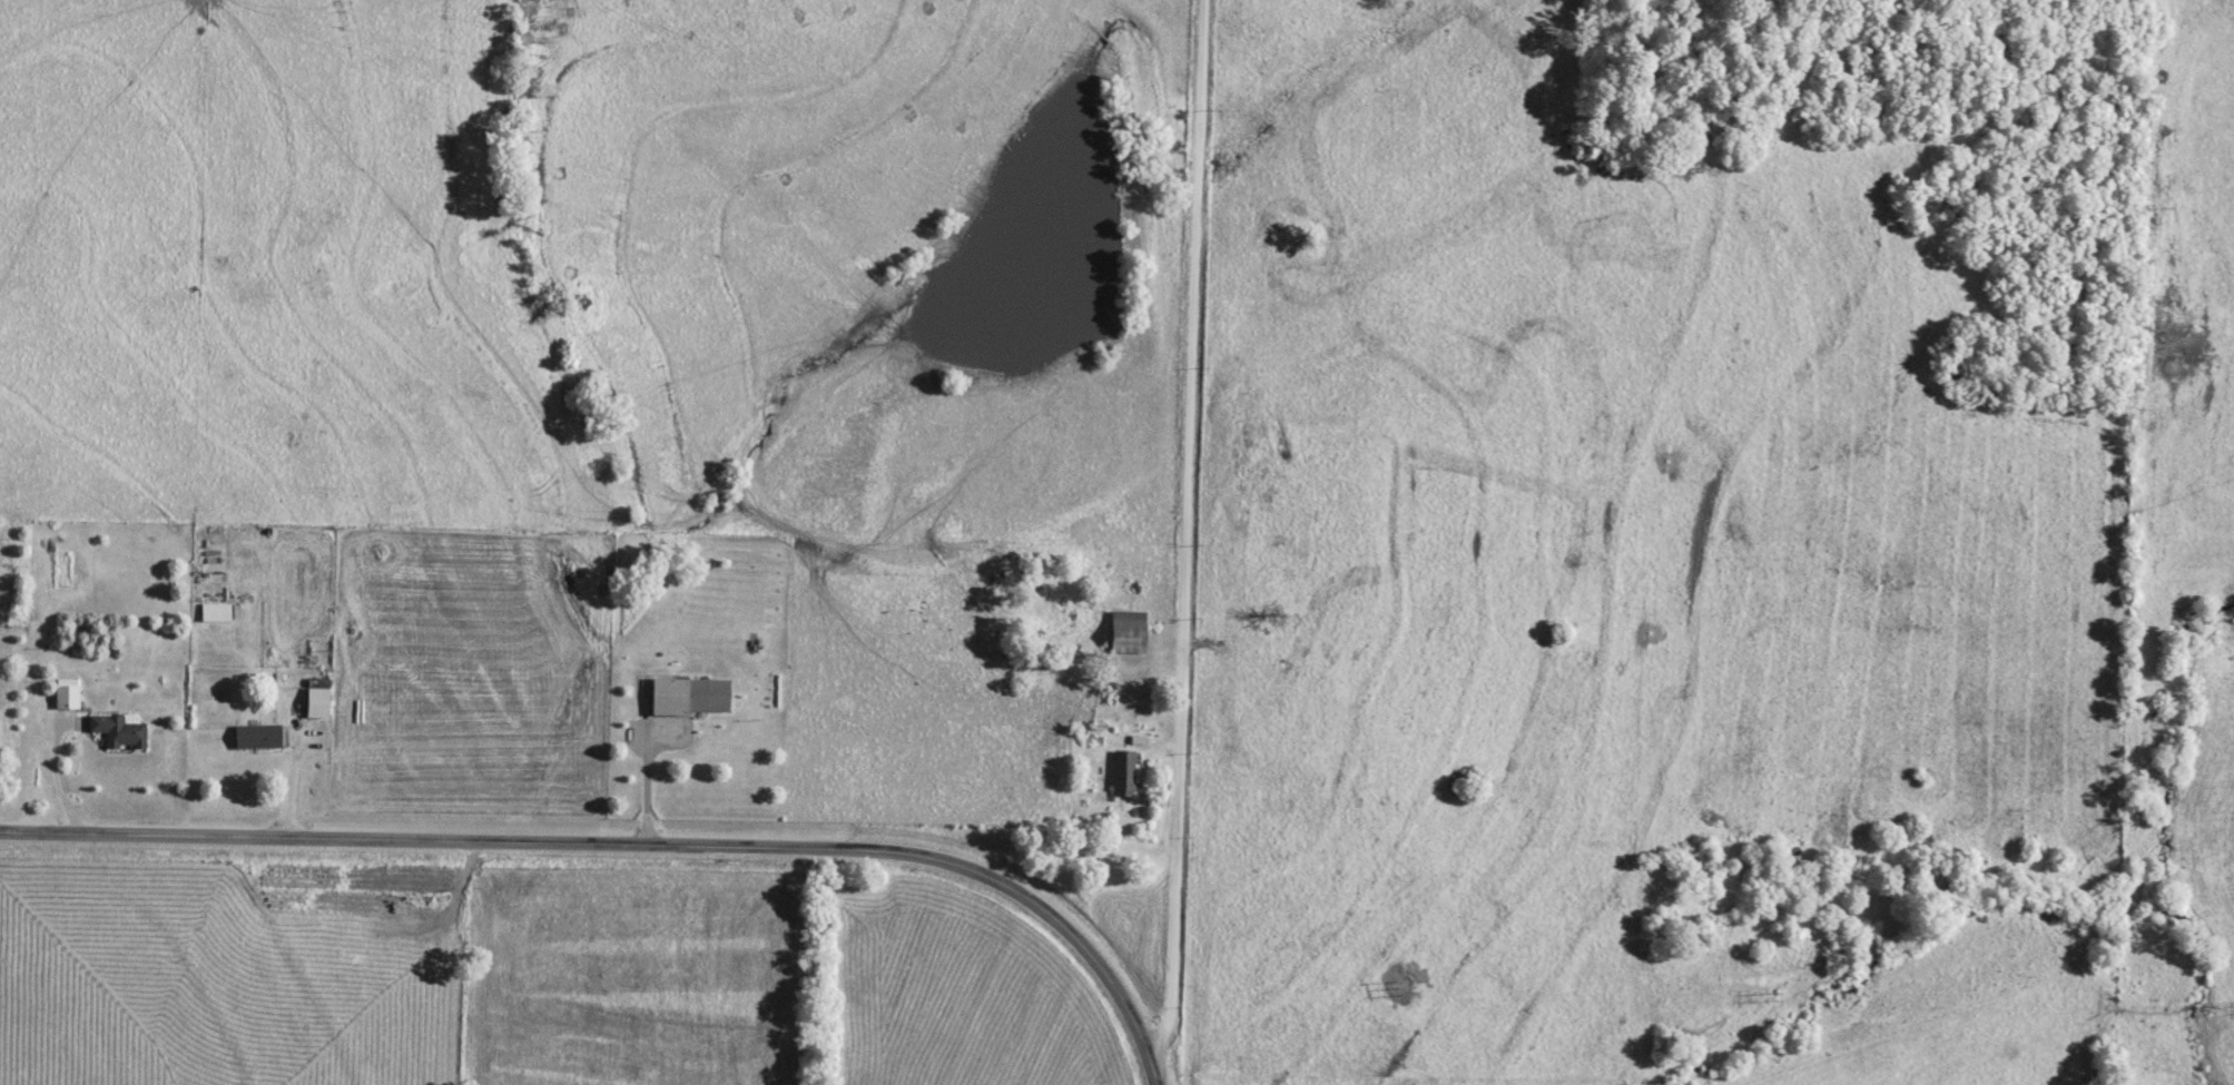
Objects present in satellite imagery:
road: (1184, 525)
building: (216, 611)
building: (1129, 631)
building: (690, 694)
building: (67, 696)
building: (318, 698)
building: (119, 729)
building: (257, 736)
road: (298, 761)
road: (60, 765)
road: (649, 768)
building: (1123, 772)
road: (634, 845)
road: (456, 961)

